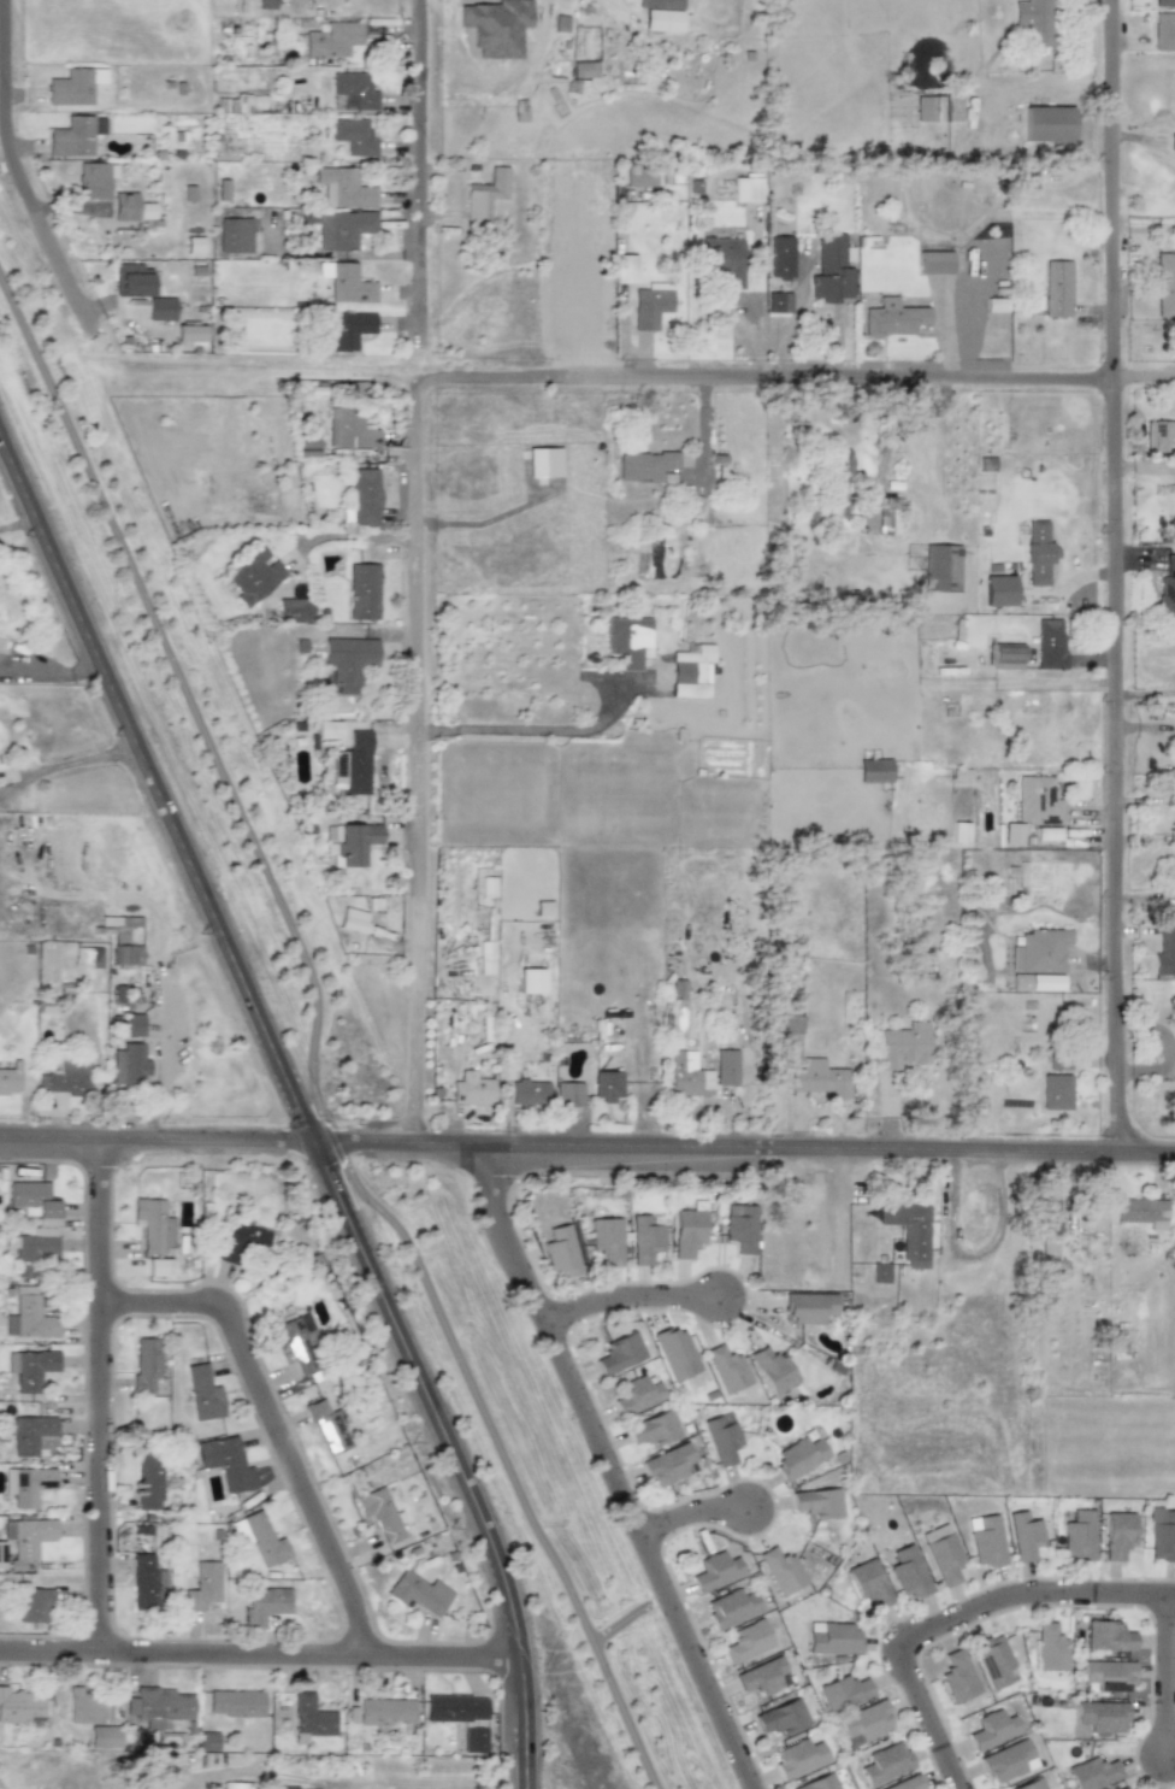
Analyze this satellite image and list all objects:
building: (660, 4)
building: (1163, 4)
road: (619, 8)
building: (661, 20)
building: (1033, 20)
building: (1163, 31)
building: (332, 39)
building: (583, 70)
building: (73, 86)
building: (354, 89)
building: (244, 104)
building: (938, 108)
building: (1047, 124)
building: (71, 137)
building: (354, 137)
building: (1171, 141)
road: (420, 164)
road: (19, 171)
building: (640, 176)
building: (93, 181)
building: (344, 188)
building: (746, 188)
building: (484, 194)
building: (130, 207)
building: (343, 229)
building: (235, 235)
building: (780, 257)
building: (724, 260)
building: (934, 263)
building: (625, 269)
building: (831, 270)
building: (131, 279)
building: (347, 282)
building: (1165, 284)
building: (1057, 288)
building: (778, 302)
building: (650, 305)
building: (160, 308)
building: (893, 318)
building: (344, 330)
building: (189, 334)
road: (643, 382)
building: (349, 429)
building: (1159, 436)
building: (307, 448)
building: (543, 461)
building: (840, 463)
building: (644, 465)
building: (1173, 467)
building: (364, 496)
building: (887, 516)
road: (18, 523)
road: (349, 536)
building: (1037, 553)
building: (941, 567)
building: (253, 575)
road: (1116, 579)
building: (1167, 589)
building: (998, 590)
building: (364, 592)
building: (294, 610)
building: (628, 641)
building: (1050, 643)
building: (1005, 655)
building: (348, 660)
road: (51, 665)
building: (691, 672)
road: (1145, 693)
building: (327, 730)
road: (506, 732)
road: (66, 764)
road: (417, 764)
building: (353, 765)
building: (874, 770)
building: (1035, 801)
building: (960, 831)
building: (1012, 834)
building: (1046, 834)
building: (352, 843)
building: (489, 888)
building: (353, 919)
building: (1039, 951)
building: (1164, 954)
building: (85, 960)
building: (531, 981)
building: (1035, 982)
building: (132, 1025)
road: (319, 1041)
building: (902, 1046)
building: (129, 1064)
building: (701, 1072)
building: (65, 1077)
building: (10, 1078)
building: (819, 1078)
building: (607, 1084)
building: (472, 1089)
building: (1055, 1091)
building: (529, 1093)
building: (568, 1094)
road: (297, 1101)
road: (159, 1146)
road: (746, 1153)
building: (1141, 1212)
building: (1046, 1216)
building: (46, 1222)
building: (154, 1226)
building: (739, 1226)
building: (908, 1230)
building: (686, 1232)
road: (502, 1238)
building: (242, 1240)
building: (604, 1240)
building: (644, 1240)
building: (561, 1250)
road: (628, 1299)
building: (808, 1307)
building: (29, 1318)
building: (297, 1341)
building: (619, 1353)
building: (674, 1353)
building: (29, 1369)
building: (727, 1369)
building: (773, 1370)
building: (148, 1381)
building: (202, 1393)
building: (637, 1395)
road: (102, 1399)
road: (273, 1426)
building: (329, 1426)
building: (653, 1429)
building: (29, 1434)
building: (721, 1437)
building: (798, 1456)
building: (225, 1463)
building: (148, 1481)
building: (26, 1484)
building: (816, 1502)
building: (379, 1513)
road: (695, 1514)
building: (1117, 1535)
building: (1161, 1535)
building: (1025, 1536)
building: (1077, 1536)
building: (260, 1537)
building: (25, 1538)
building: (985, 1540)
building: (0, 1548)
road: (649, 1554)
building: (941, 1554)
building: (780, 1570)
building: (714, 1571)
building: (907, 1572)
building: (144, 1582)
building: (868, 1583)
building: (203, 1585)
building: (418, 1593)
building: (268, 1600)
building: (33, 1603)
building: (731, 1607)
road: (956, 1617)
building: (1106, 1636)
building: (833, 1638)
building: (746, 1641)
building: (1049, 1648)
road: (260, 1653)
building: (1014, 1654)
building: (993, 1661)
building: (762, 1676)
building: (960, 1676)
building: (1108, 1676)
road: (1163, 1688)
building: (843, 1693)
building: (235, 1703)
building: (87, 1706)
building: (159, 1706)
building: (19, 1707)
building: (455, 1708)
building: (384, 1711)
building: (1103, 1716)
building: (309, 1717)
building: (781, 1717)
building: (864, 1722)
building: (991, 1729)
building: (207, 1741)
building: (797, 1758)
building: (1005, 1760)
building: (885, 1762)
building: (1092, 1773)
building: (816, 1783)
building: (904, 1783)
building: (1031, 1784)
building: (1126, 1787)

